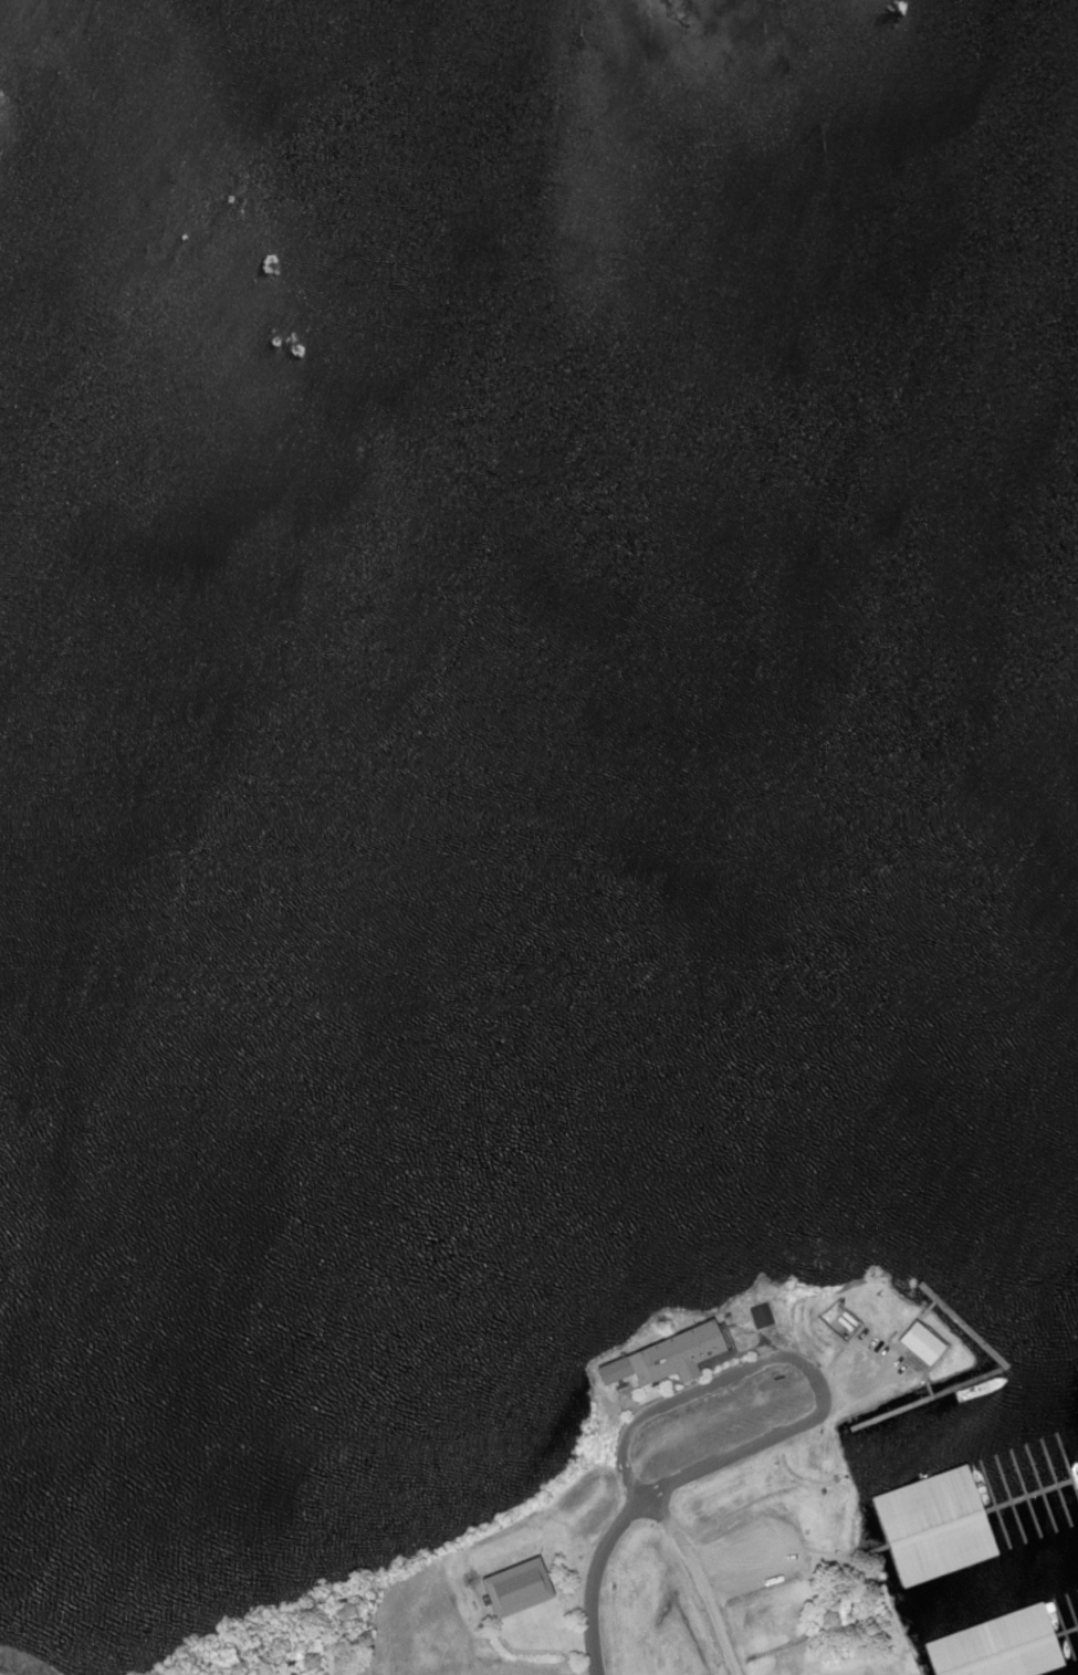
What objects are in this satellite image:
building: (760, 1316)
building: (922, 1343)
road: (791, 1357)
building: (667, 1358)
building: (936, 1526)
road: (589, 1580)
road: (694, 1582)
building: (515, 1589)
building: (999, 1646)
park: (1, 1674)

